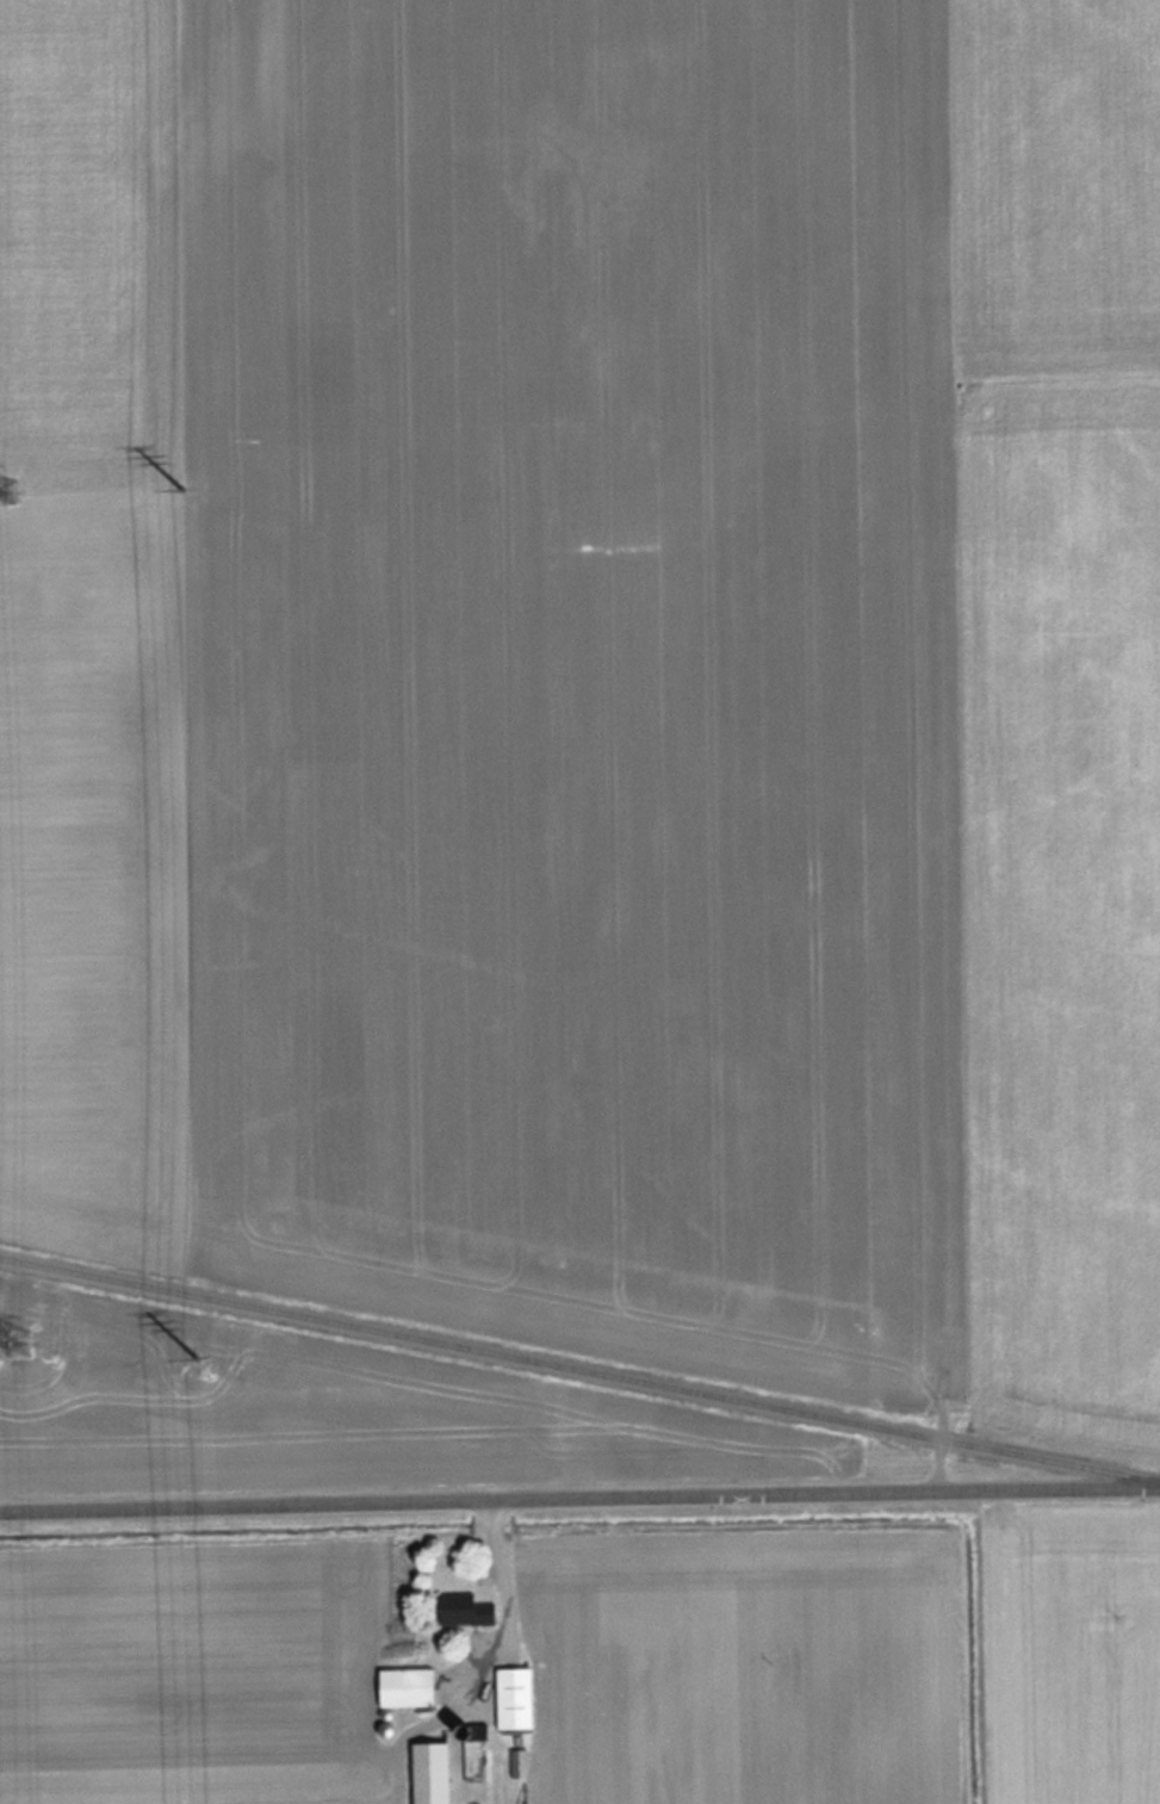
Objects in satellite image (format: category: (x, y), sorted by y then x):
power tower: (181, 488)
power tower: (1, 492)
power tower: (20, 1343)
power tower: (190, 1356)
railway: (579, 1368)
road: (579, 1500)
road: (511, 1601)
building: (461, 1608)
building: (404, 1687)
building: (510, 1697)
building: (471, 1759)
building: (427, 1773)

